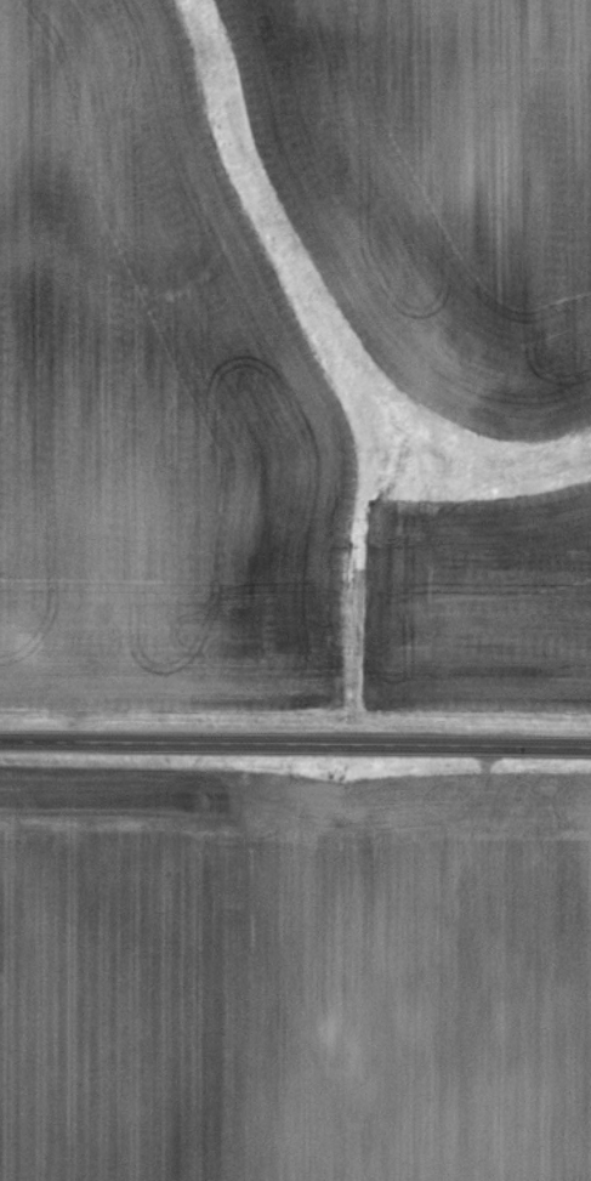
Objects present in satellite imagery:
road: (295, 742)

